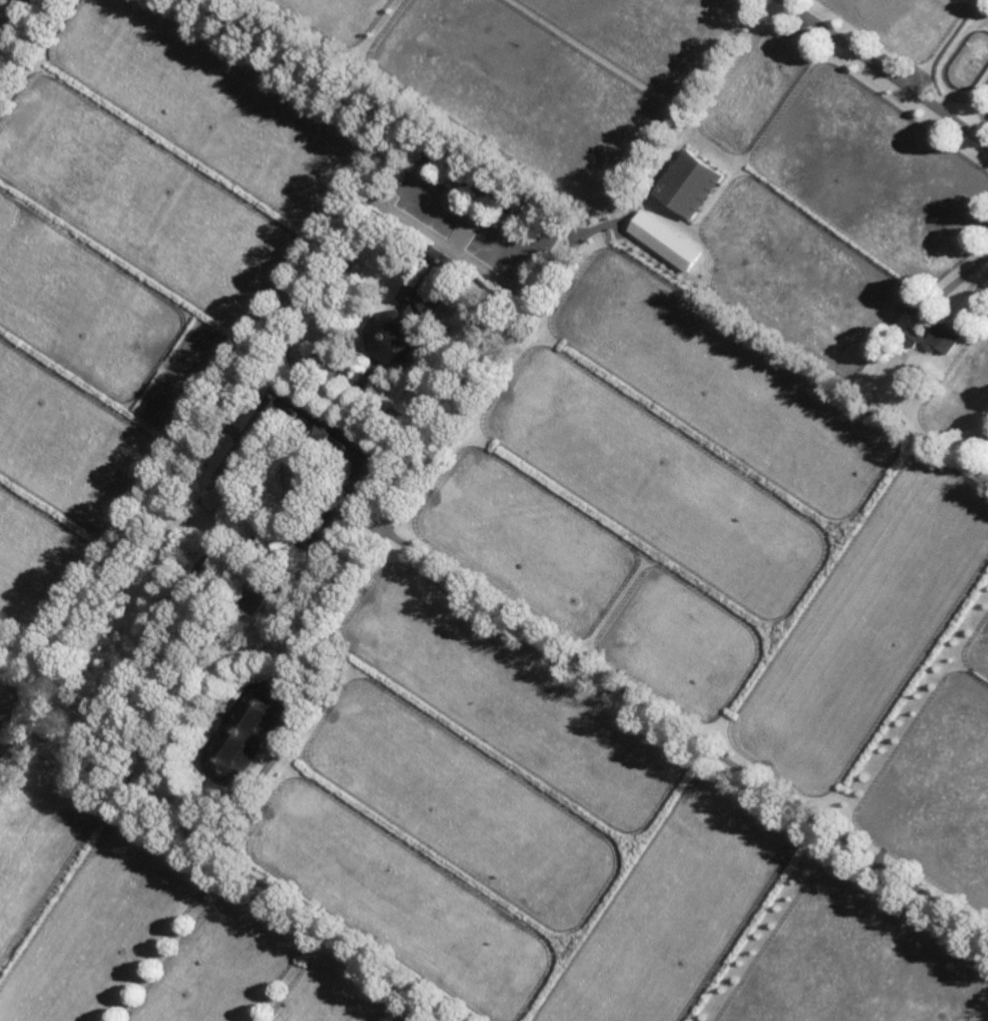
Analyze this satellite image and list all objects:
road: (27, 40)
road: (886, 74)
building: (692, 182)
building: (666, 240)
road: (956, 281)
building: (411, 312)
building: (937, 336)
building: (376, 468)
road: (400, 504)
building: (246, 731)
road: (11, 736)
road: (202, 844)

